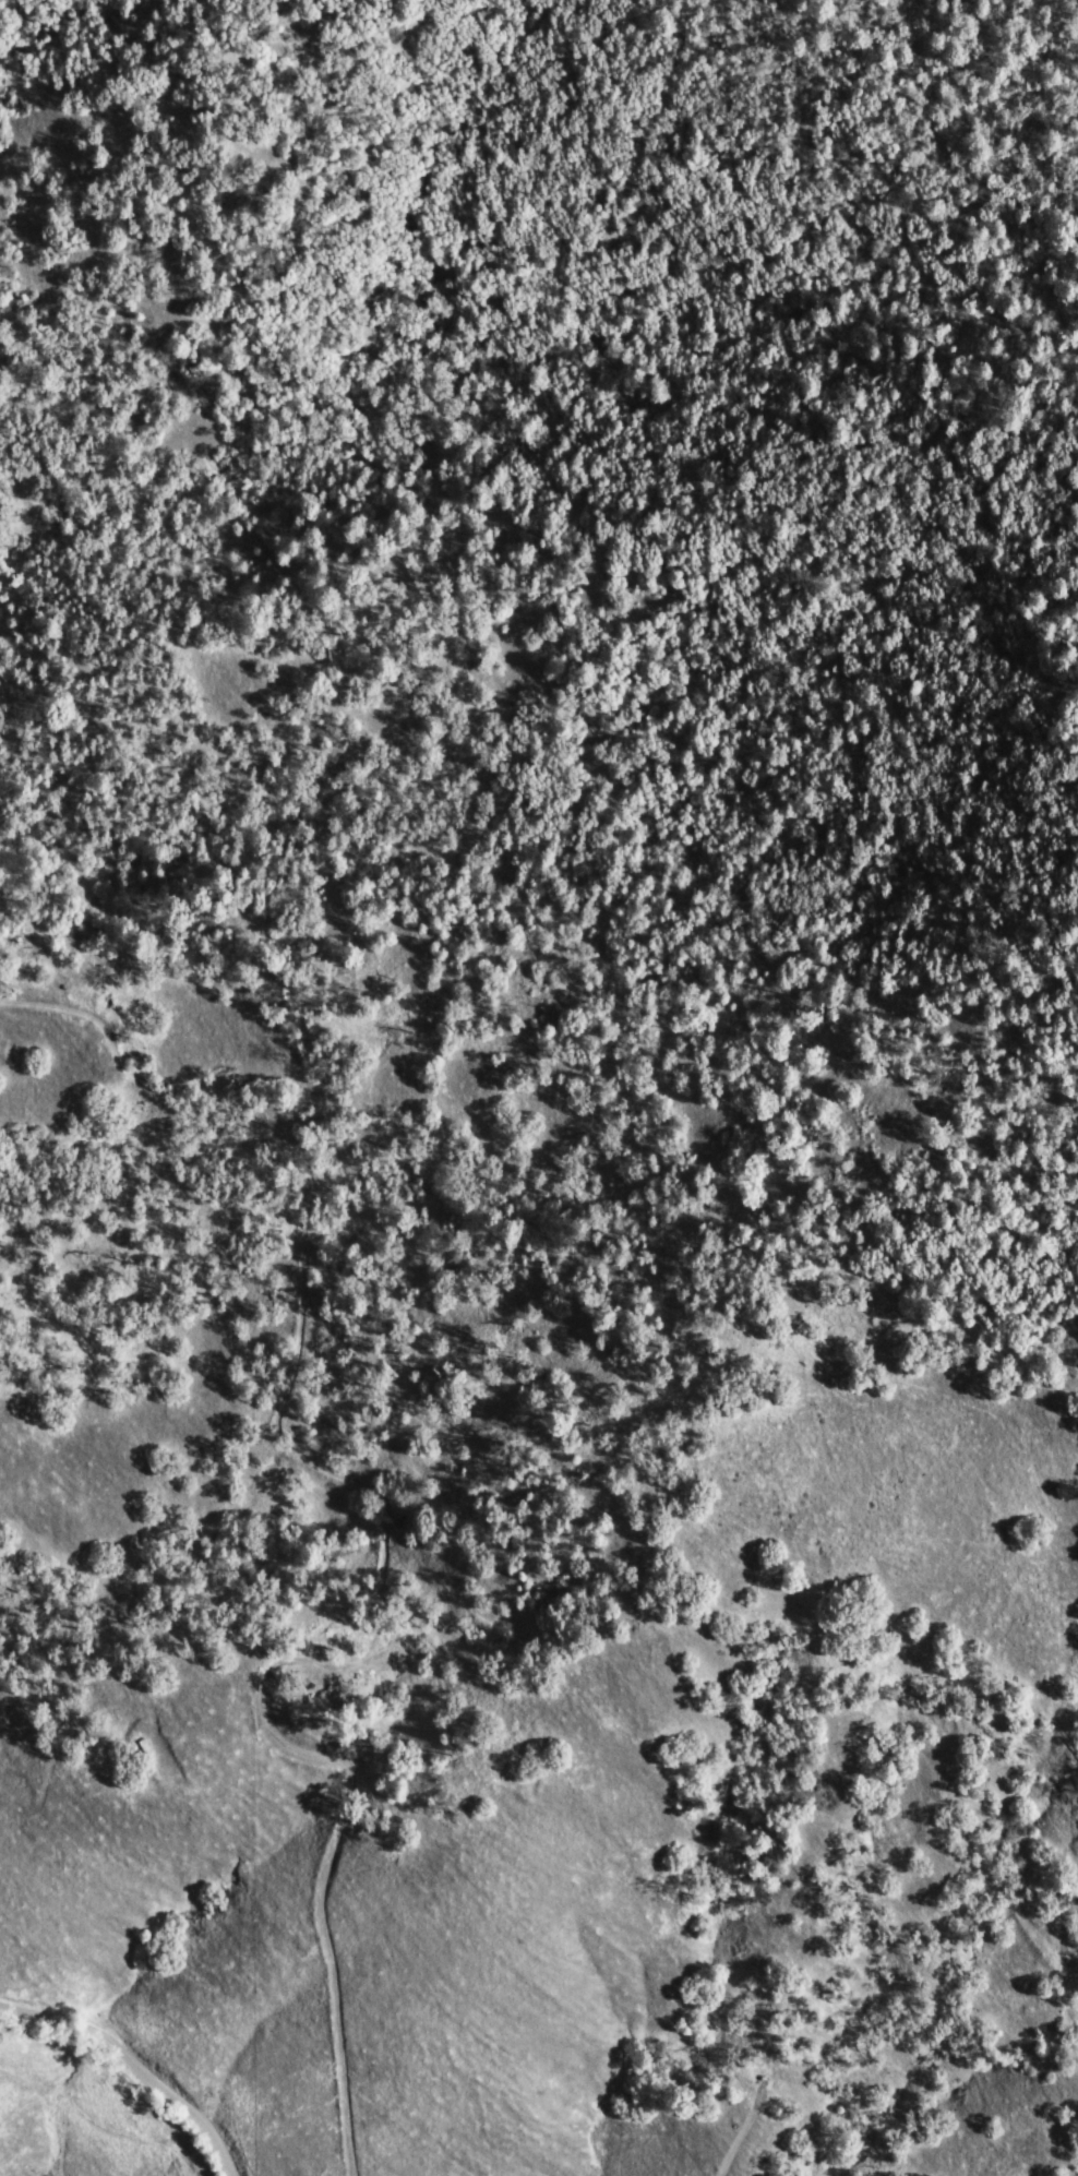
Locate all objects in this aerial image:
road: (143, 2057)

